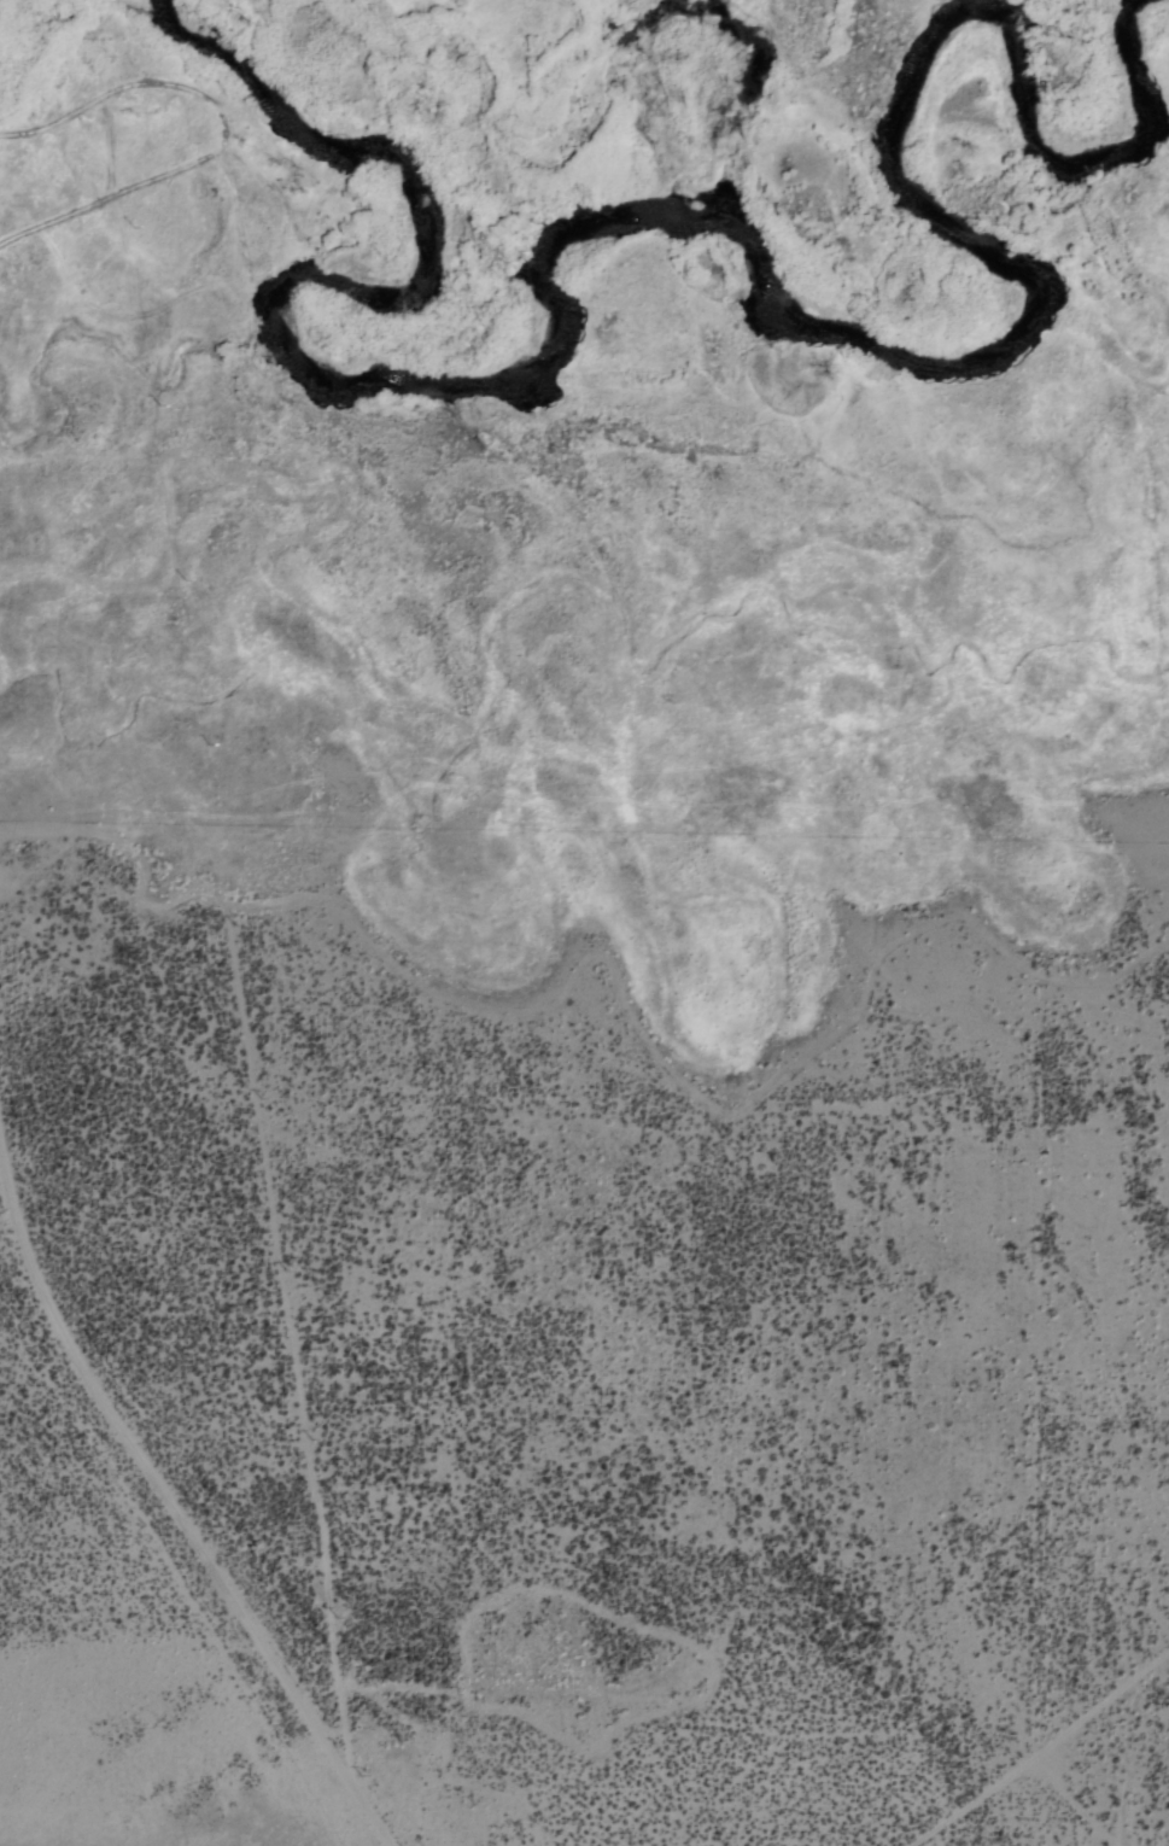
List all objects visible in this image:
river: (1129, 71)
river: (641, 94)
road: (133, 191)
road: (298, 1313)
road: (171, 1483)
road: (1046, 1756)

